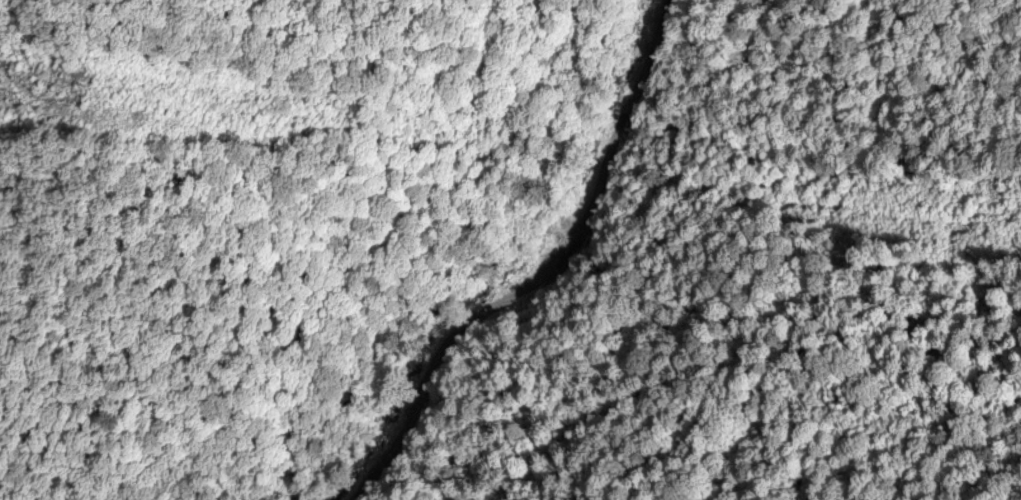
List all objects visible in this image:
road: (531, 267)

